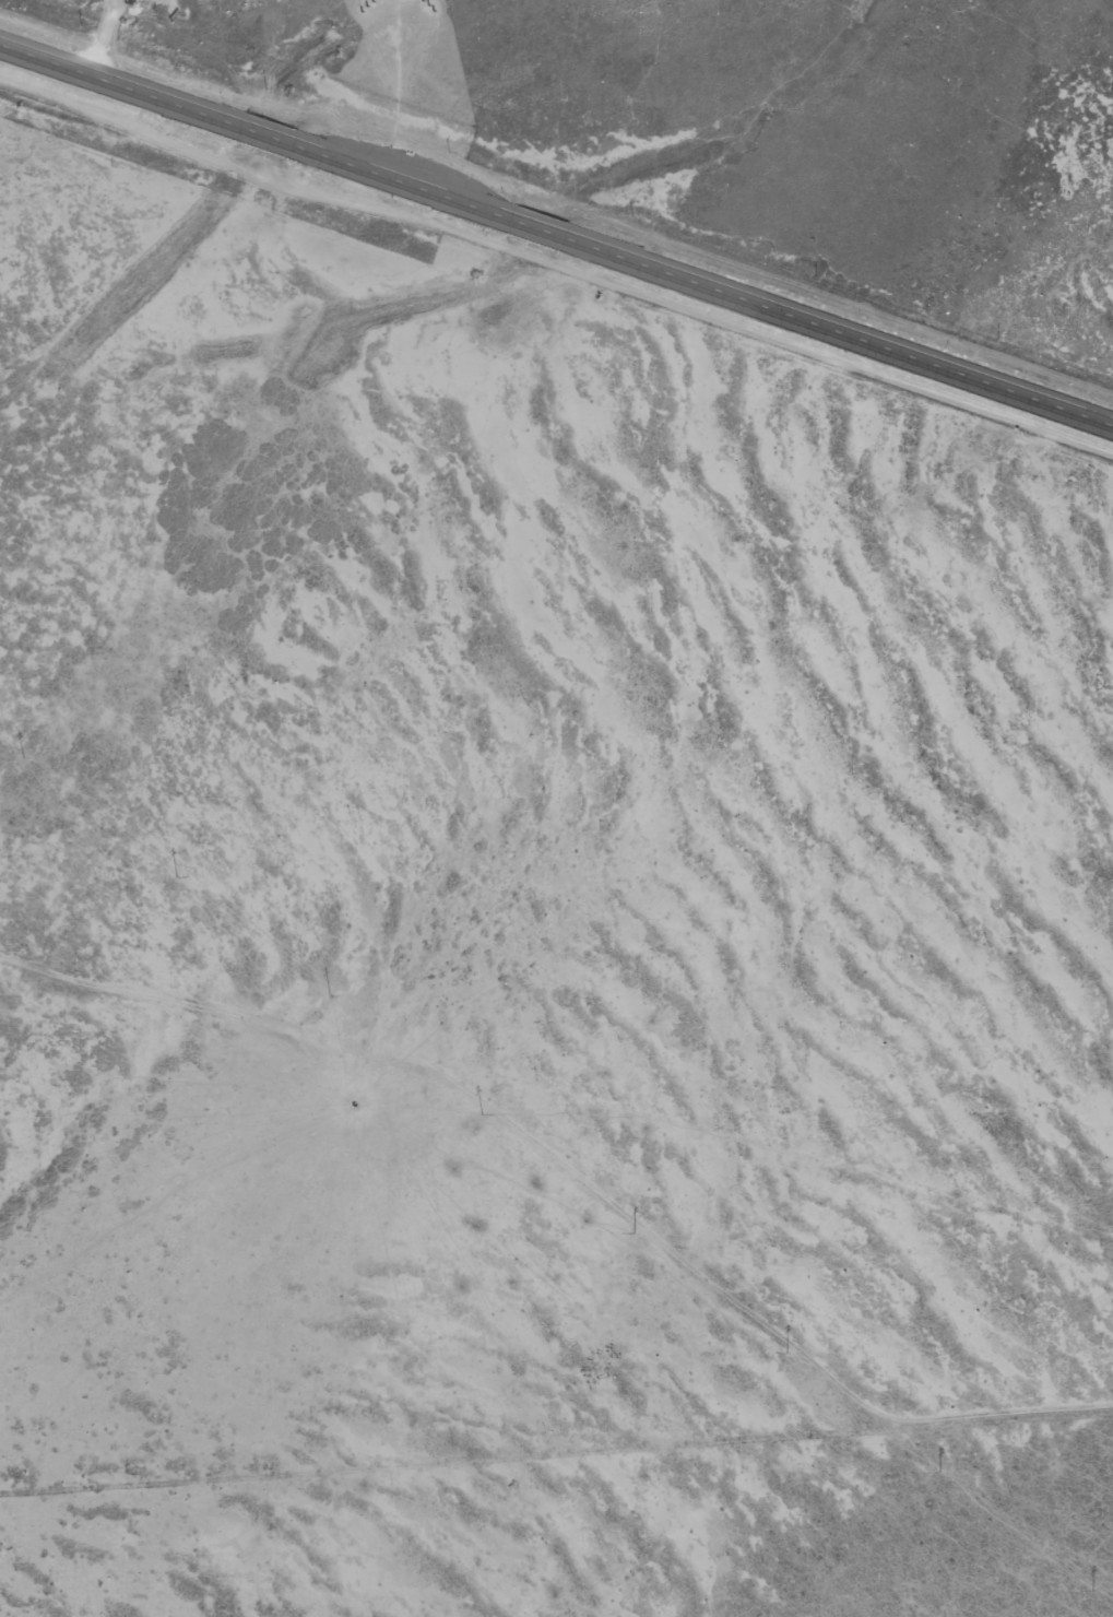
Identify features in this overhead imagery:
road: (556, 236)

